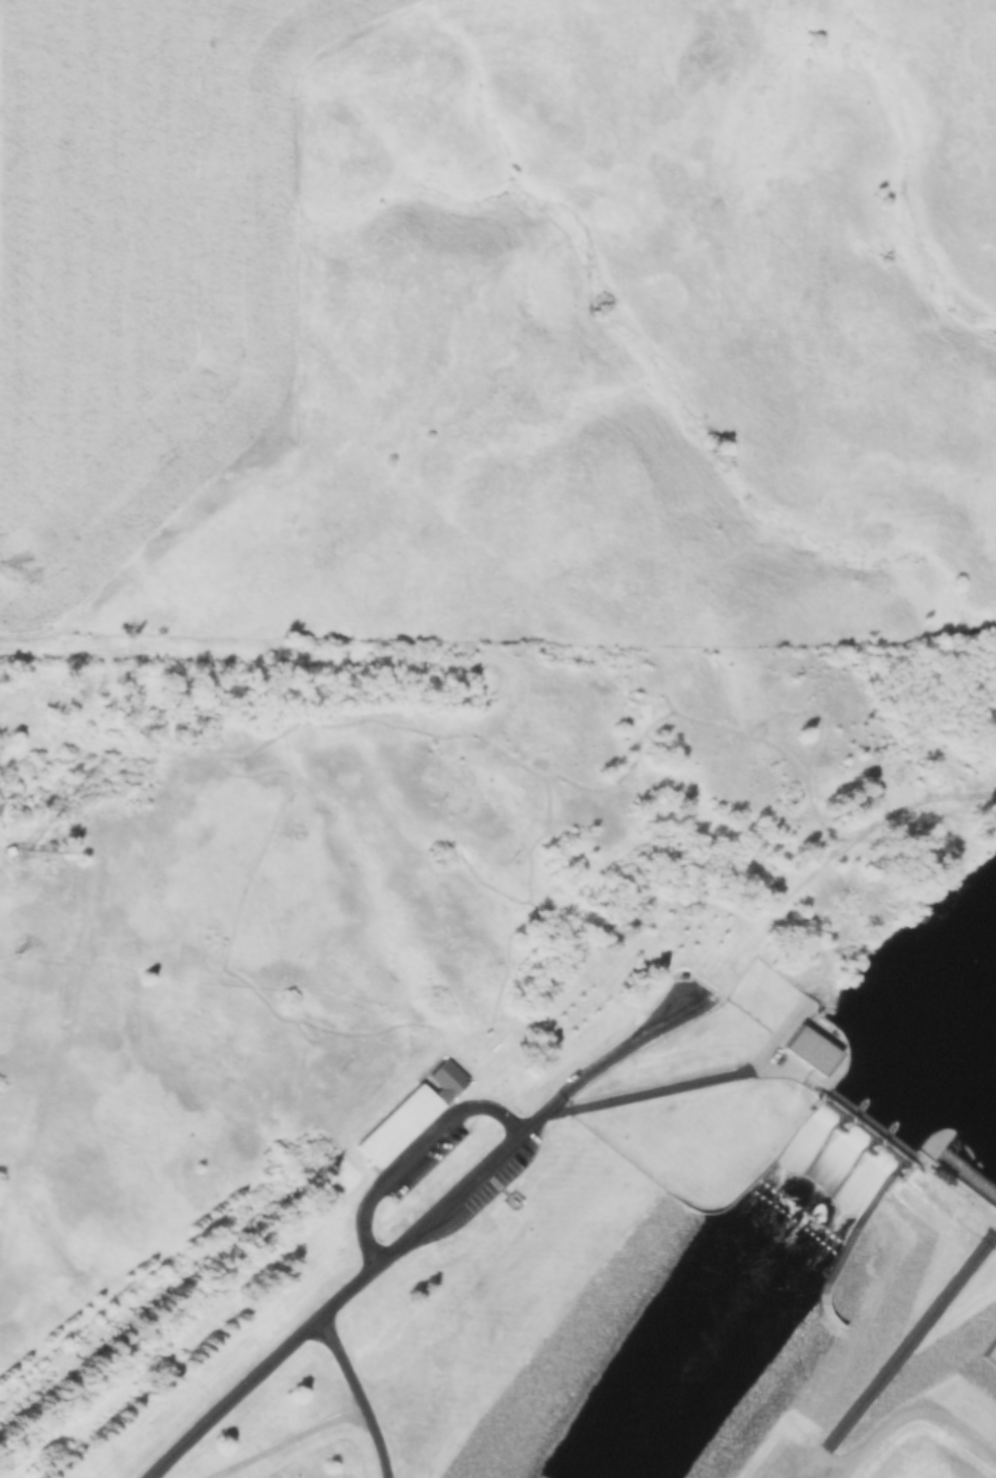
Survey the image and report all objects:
road: (837, 862)
river: (937, 1056)
road: (656, 1090)
dam: (872, 1108)
river: (875, 1110)
building: (411, 1114)
road: (418, 1155)
building: (513, 1201)
road: (425, 1229)
dam: (928, 1259)
river: (751, 1298)
road: (360, 1394)
road: (917, 1416)

